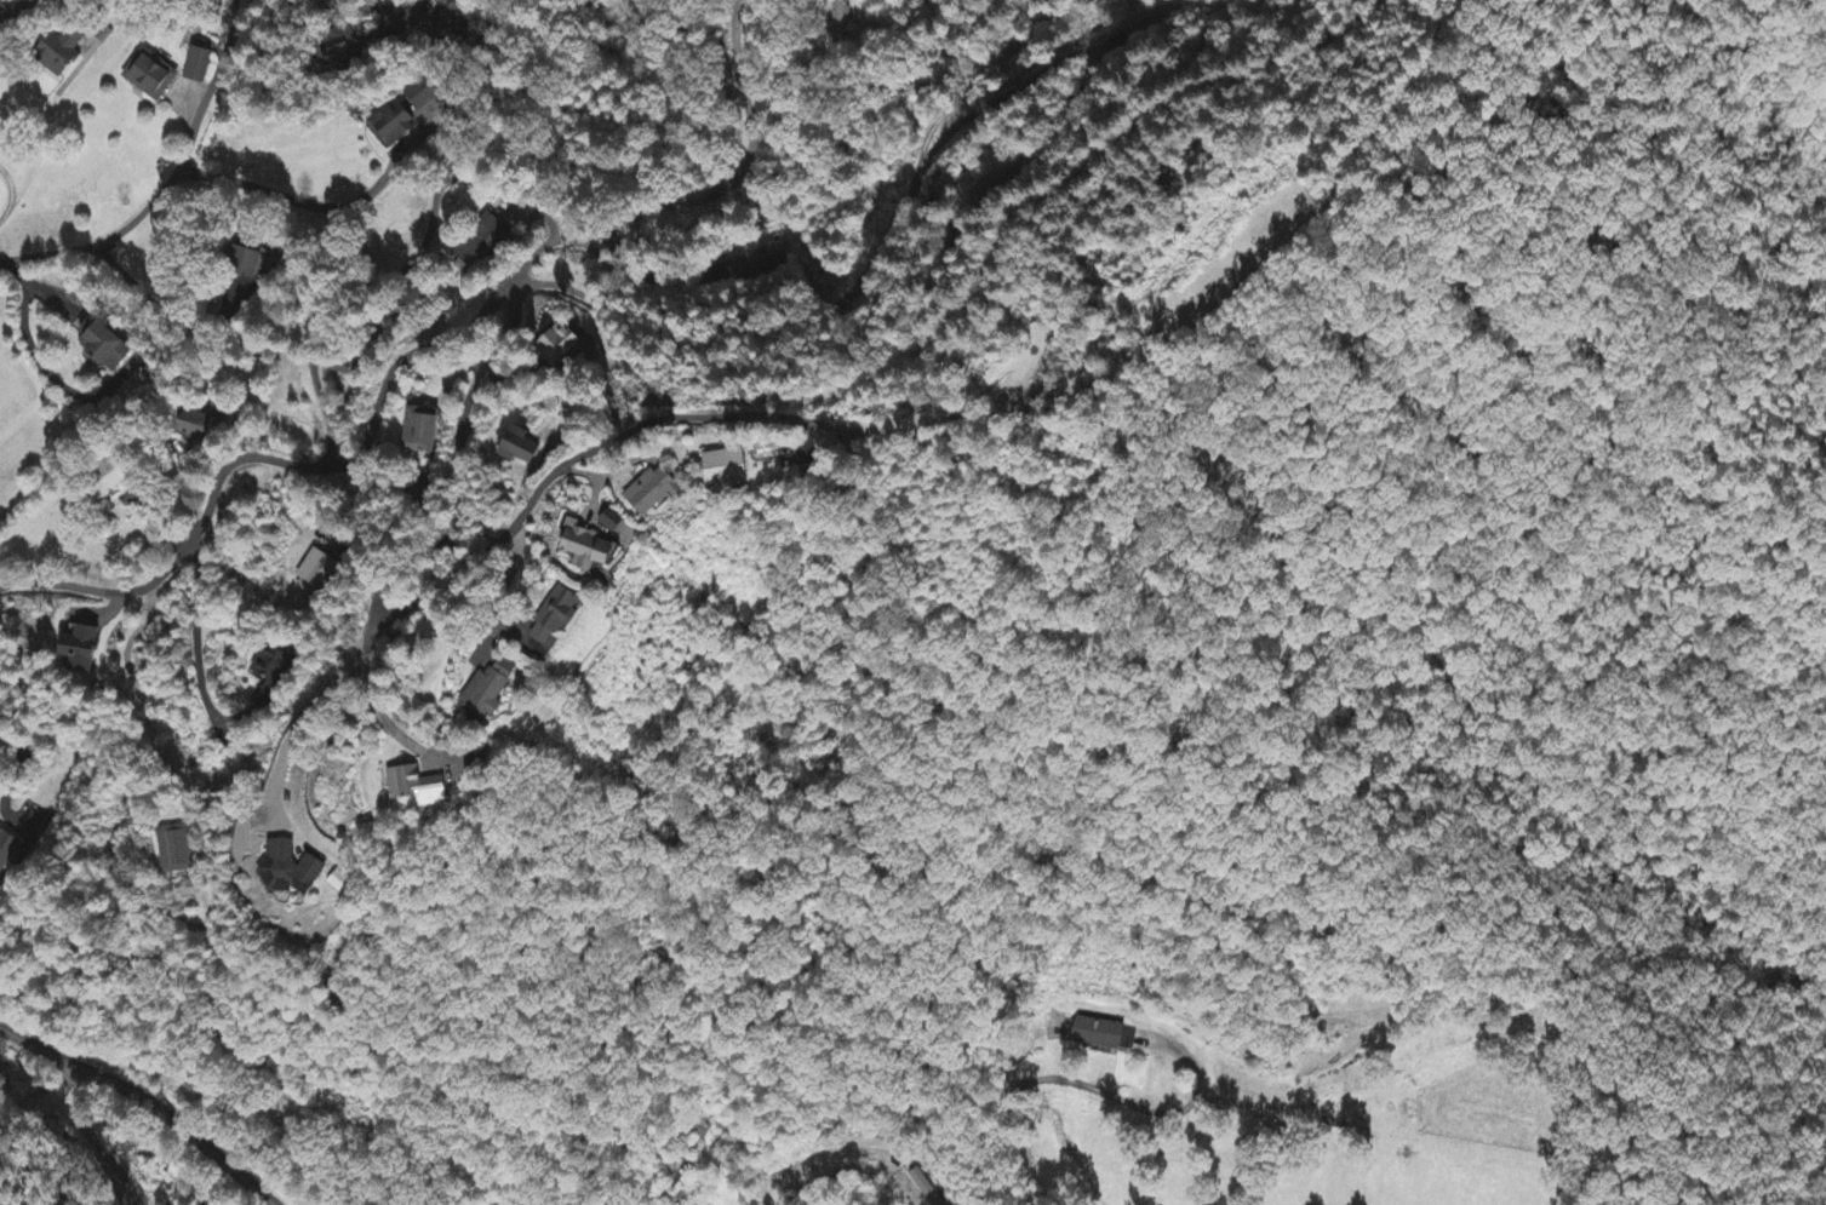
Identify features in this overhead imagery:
building: (1, 4)
building: (428, 12)
road: (1089, 22)
building: (343, 46)
building: (67, 52)
road: (738, 54)
building: (201, 65)
building: (154, 75)
building: (424, 93)
building: (397, 124)
road: (637, 178)
road: (113, 196)
building: (482, 242)
building: (246, 258)
road: (1076, 259)
building: (754, 263)
road: (344, 292)
building: (561, 344)
building: (114, 350)
building: (204, 425)
building: (420, 431)
road: (359, 449)
building: (522, 449)
building: (728, 466)
building: (122, 472)
road: (1561, 478)
building: (657, 492)
building: (616, 522)
road: (803, 527)
building: (594, 550)
building: (314, 574)
building: (565, 615)
building: (80, 650)
building: (269, 672)
building: (499, 692)
building: (428, 788)
building: (6, 850)
building: (176, 850)
building: (292, 870)
building: (339, 883)
building: (1092, 1034)
building: (1124, 1042)
road: (974, 1091)
road: (141, 1106)
building: (925, 1188)

